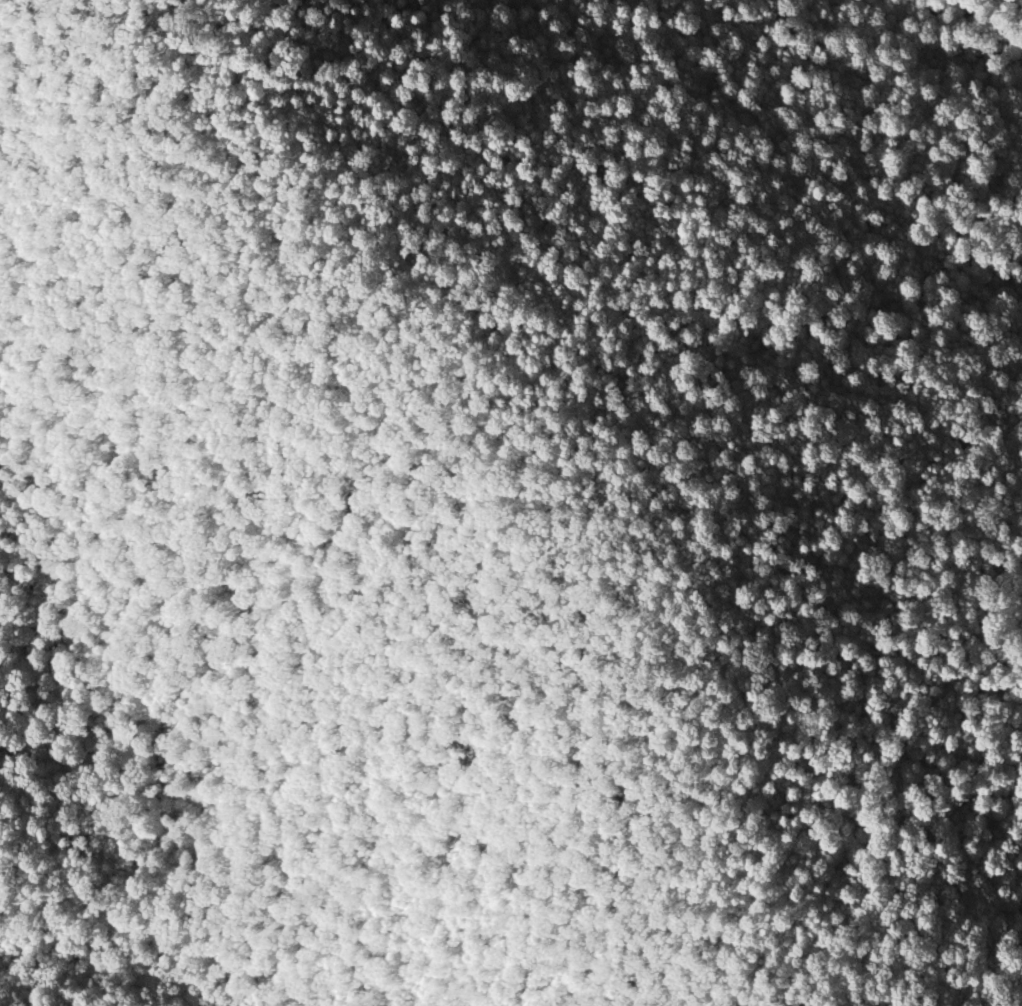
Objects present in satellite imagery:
road: (843, 466)
road: (228, 701)

